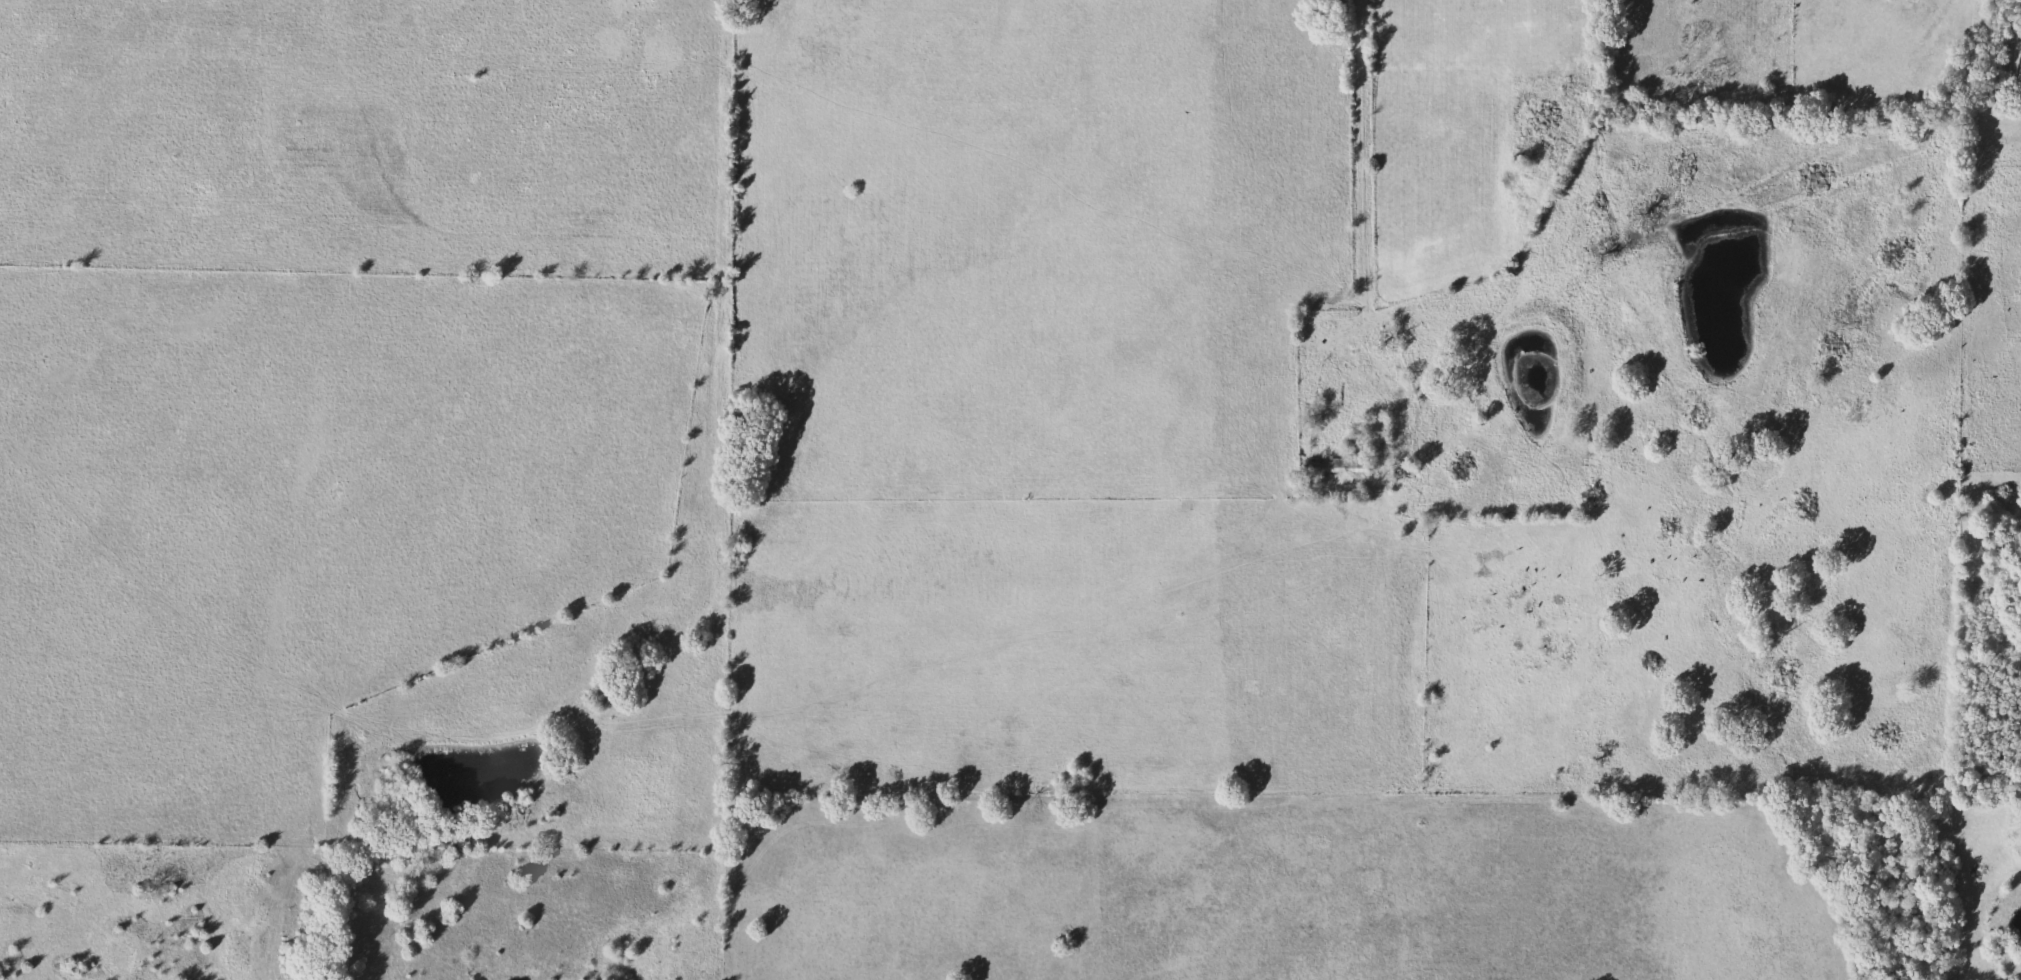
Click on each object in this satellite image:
road: (1366, 155)

